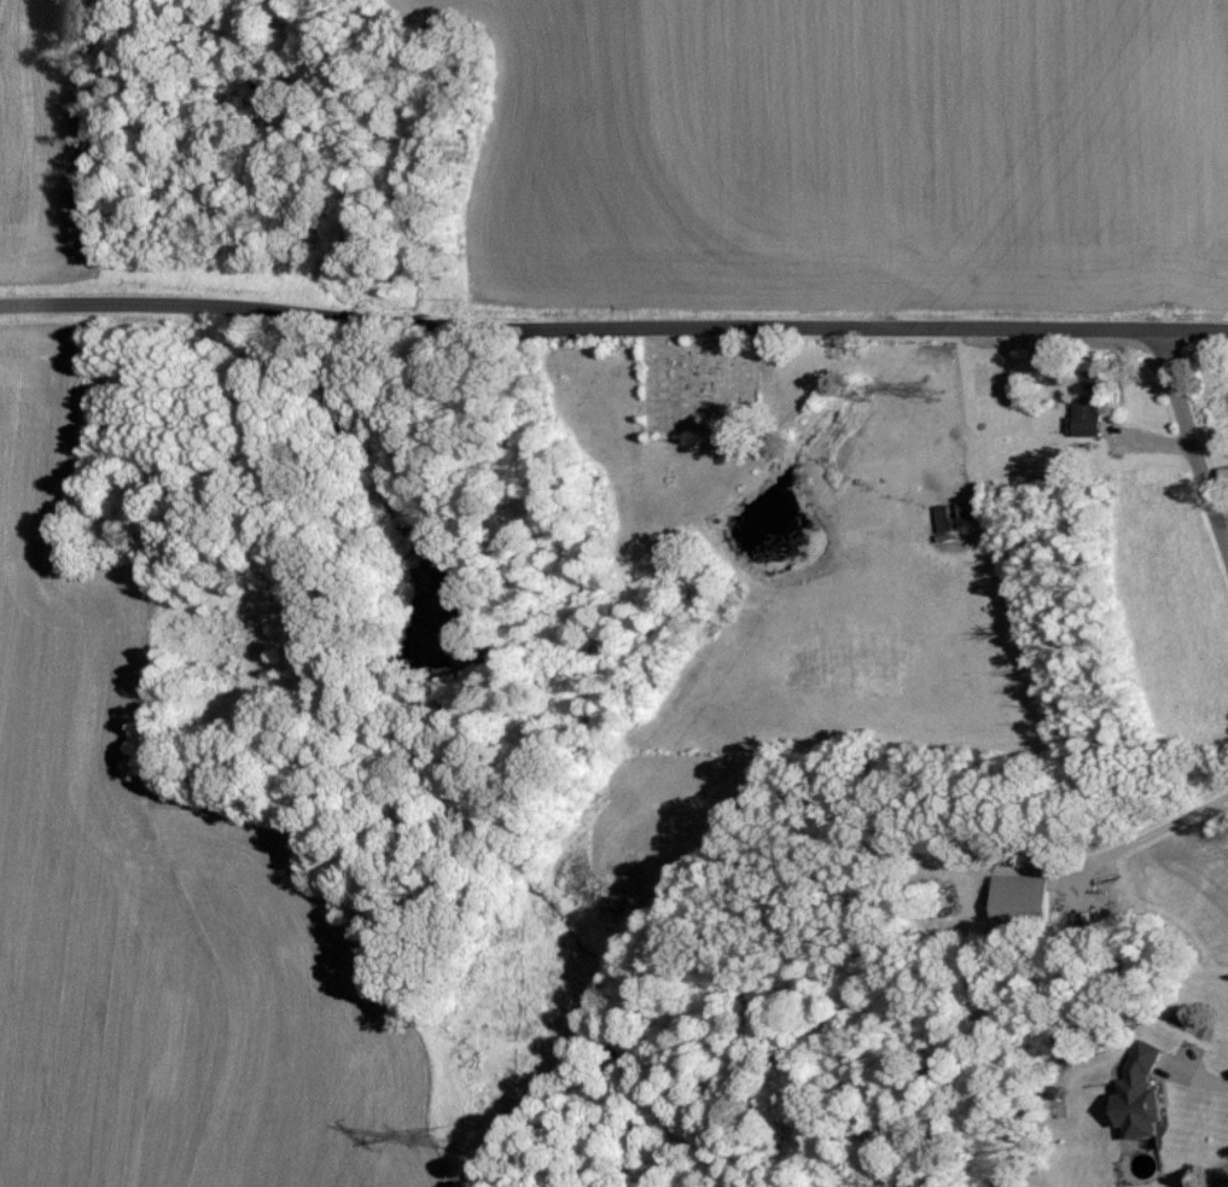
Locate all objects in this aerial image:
road: (613, 331)
power tower: (936, 391)
building: (1082, 402)
road: (1125, 430)
road: (1188, 435)
building: (1224, 476)
building: (964, 512)
building: (941, 518)
road: (1154, 832)
building: (1017, 895)
road: (1201, 1076)
building: (1135, 1093)
power tower: (447, 1137)

